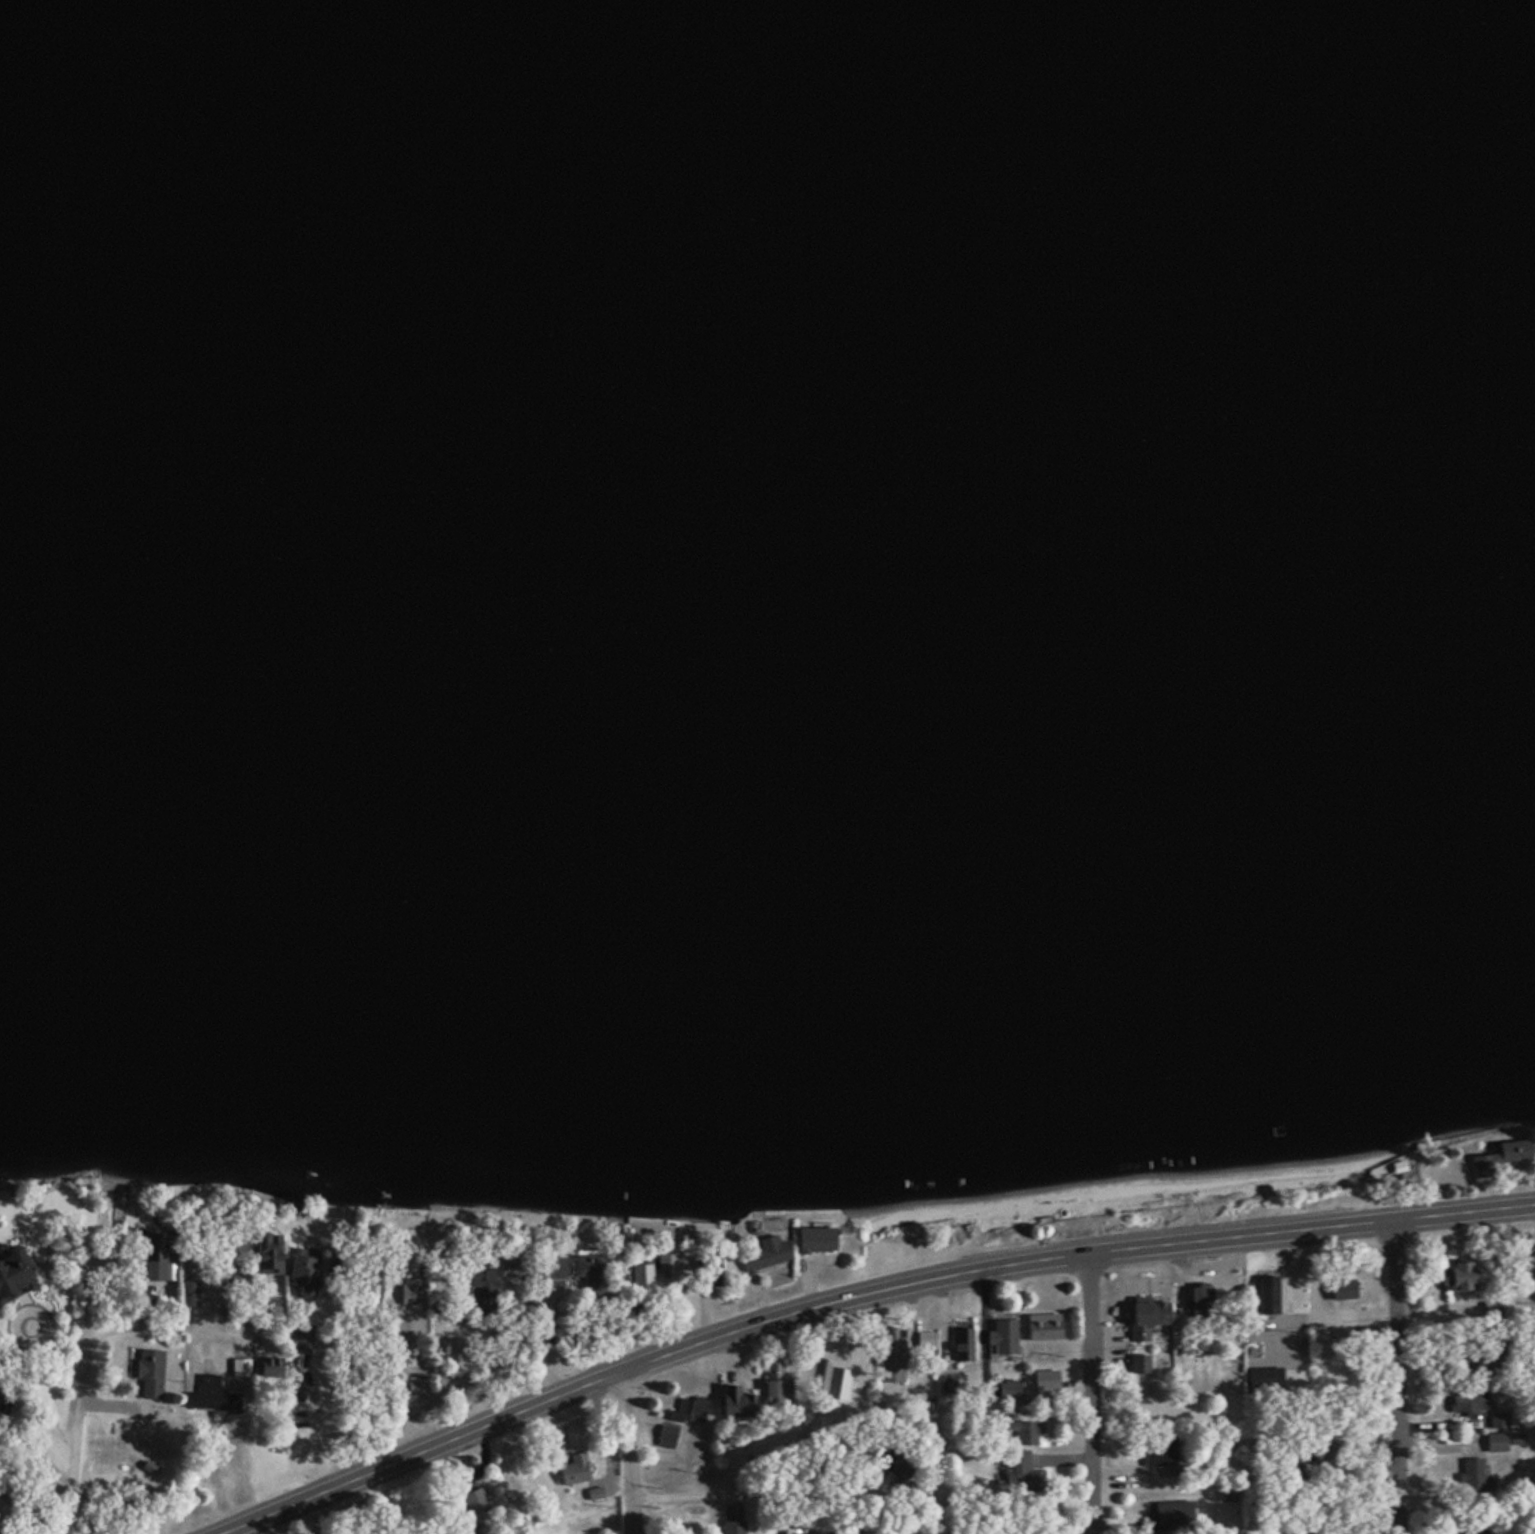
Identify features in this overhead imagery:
building: (1500, 1159)
building: (816, 1242)
building: (235, 1253)
building: (268, 1254)
building: (157, 1255)
building: (765, 1255)
building: (515, 1265)
building: (666, 1266)
building: (1526, 1267)
building: (553, 1271)
building: (713, 1272)
building: (590, 1273)
building: (14, 1275)
building: (303, 1275)
building: (1457, 1278)
building: (482, 1288)
building: (1347, 1289)
building: (411, 1292)
road: (627, 1292)
building: (189, 1294)
building: (1267, 1296)
road: (860, 1298)
building: (1201, 1301)
building: (1147, 1320)
building: (1044, 1328)
road: (177, 1331)
building: (1004, 1339)
building: (963, 1346)
building: (302, 1348)
building: (892, 1356)
building: (1139, 1365)
building: (240, 1369)
road: (80, 1372)
building: (150, 1375)
road: (1392, 1377)
building: (776, 1385)
building: (948, 1386)
building: (1045, 1387)
road: (1102, 1391)
building: (0, 1395)
building: (215, 1397)
building: (1468, 1402)
building: (738, 1406)
road: (317, 1411)
building: (690, 1411)
building: (1499, 1422)
building: (1019, 1432)
building: (666, 1437)
building: (1496, 1443)
road: (636, 1451)
building: (1160, 1451)
building: (574, 1471)
building: (1016, 1472)
building: (1472, 1476)
building: (478, 1506)
building: (1167, 1518)
building: (733, 1527)
building: (793, 1531)
building: (1482, 1533)

